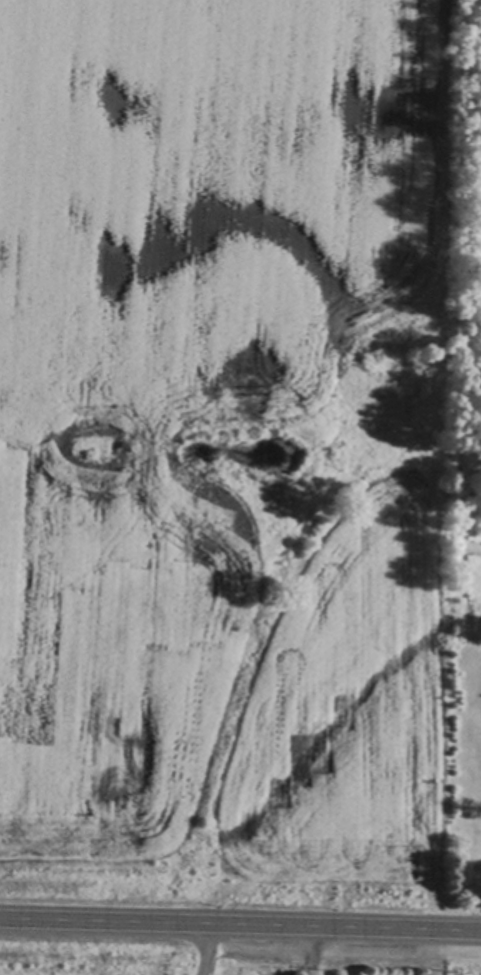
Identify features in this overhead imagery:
road: (240, 925)
road: (201, 949)

